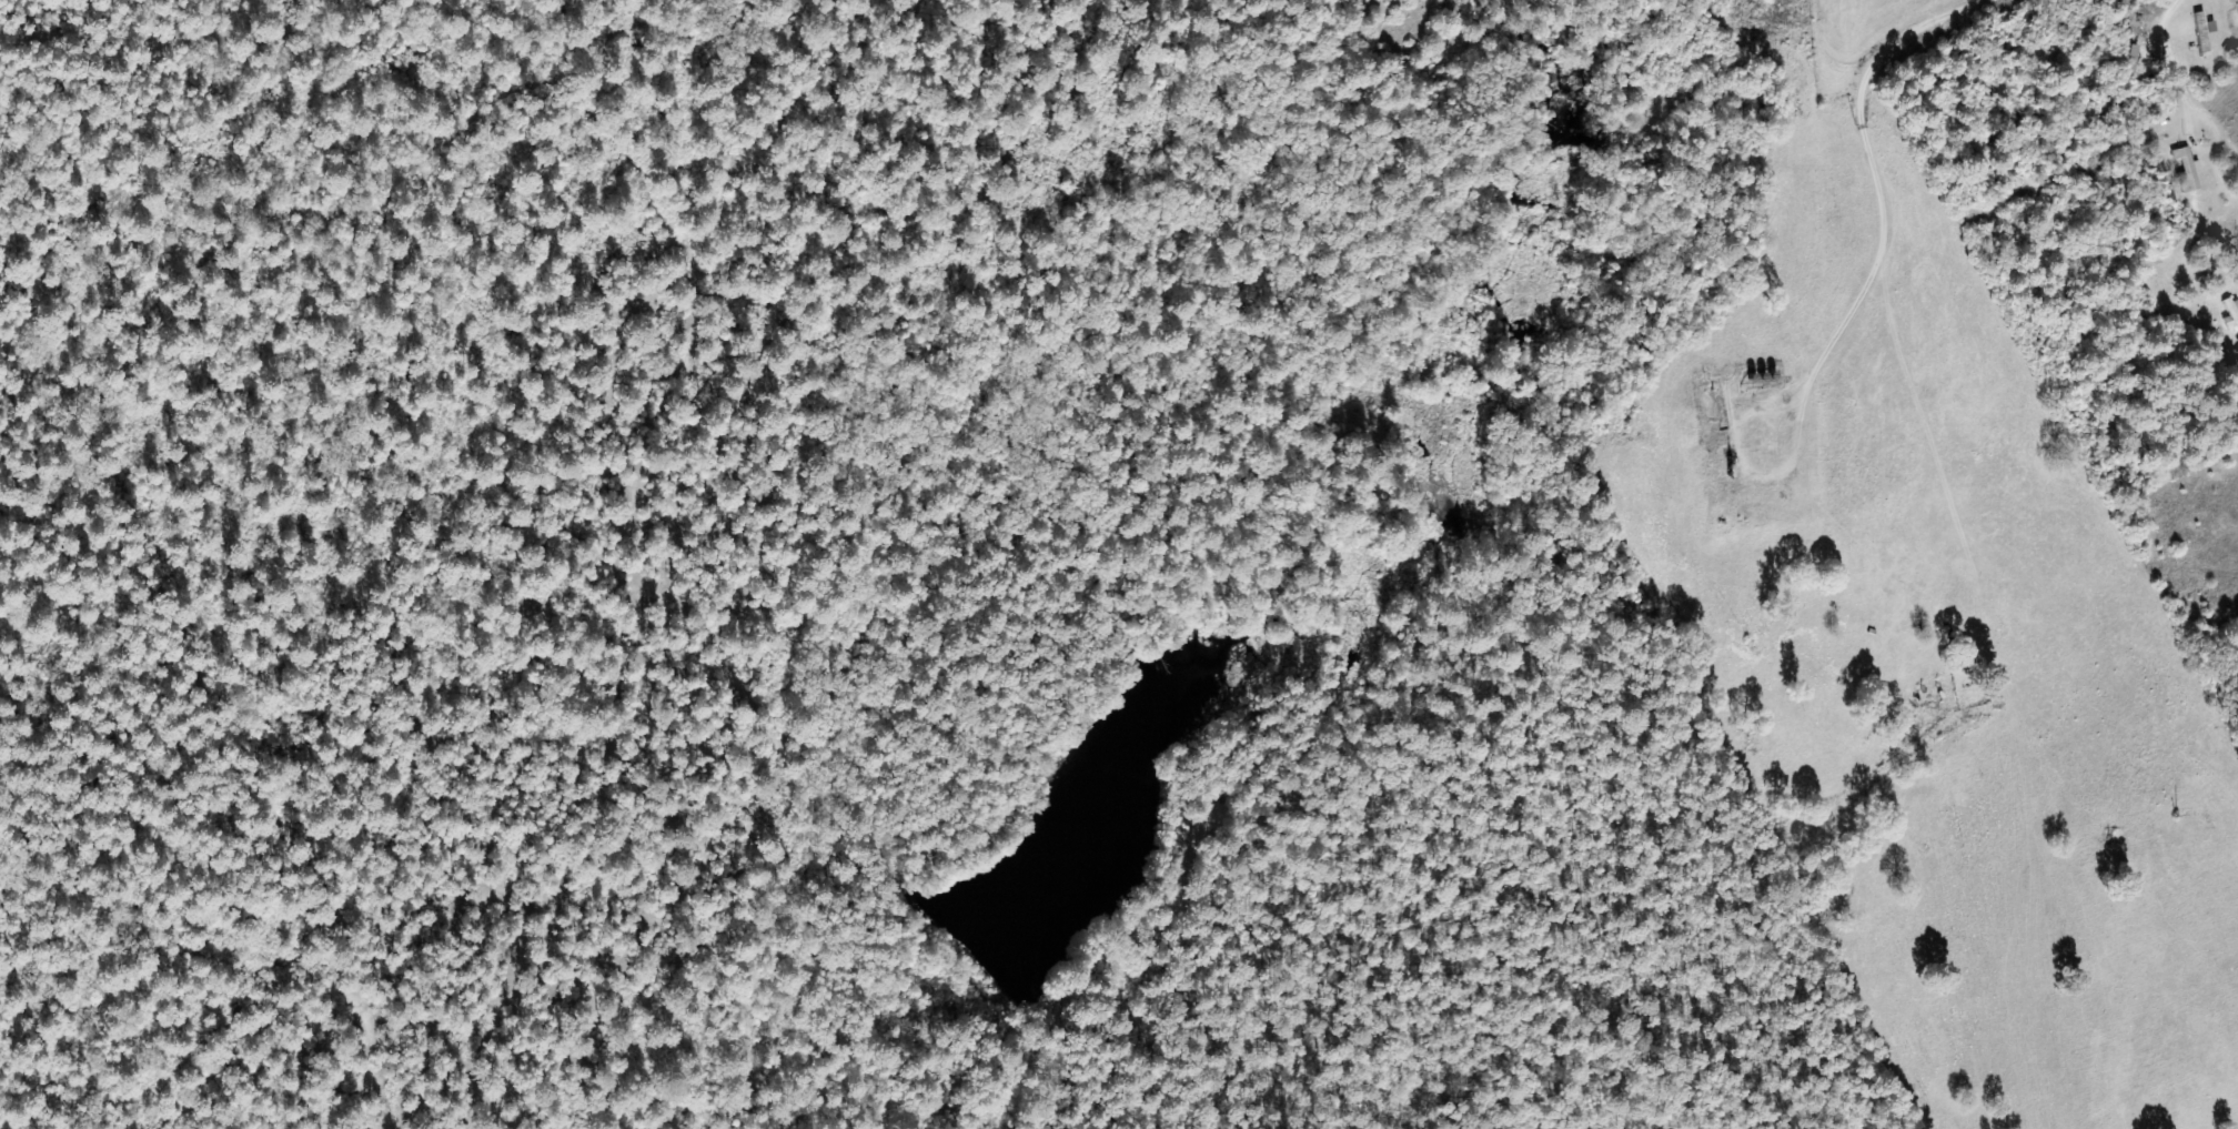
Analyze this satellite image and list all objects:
building: (2133, 60)
building: (2181, 170)
building: (2230, 322)

